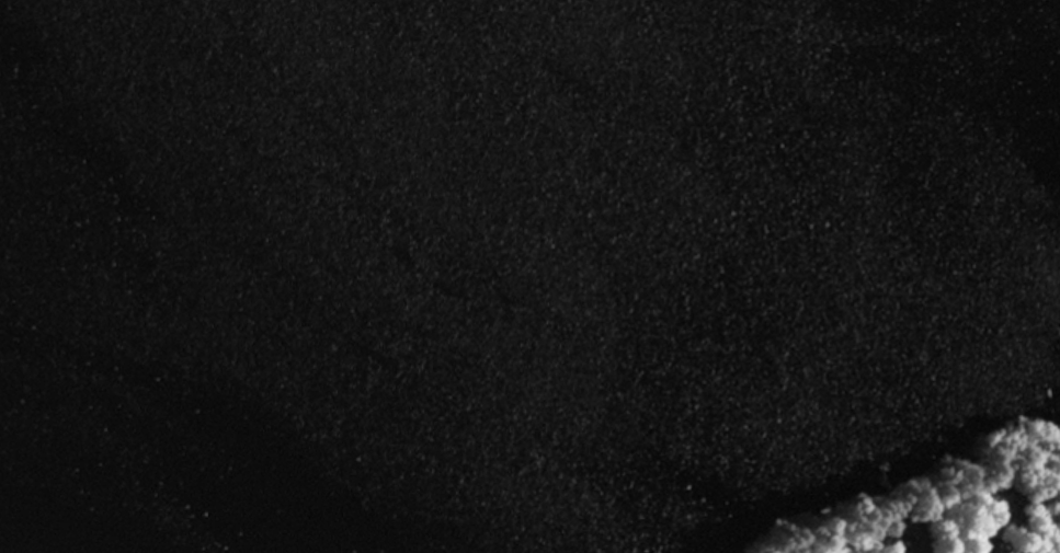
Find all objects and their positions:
building: (896, 475)
building: (988, 500)
building: (904, 539)

